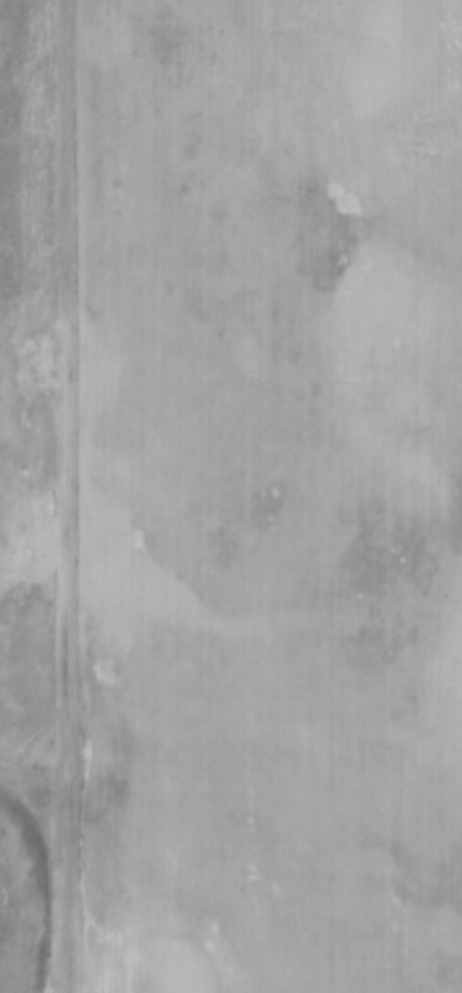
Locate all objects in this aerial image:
road: (60, 496)

